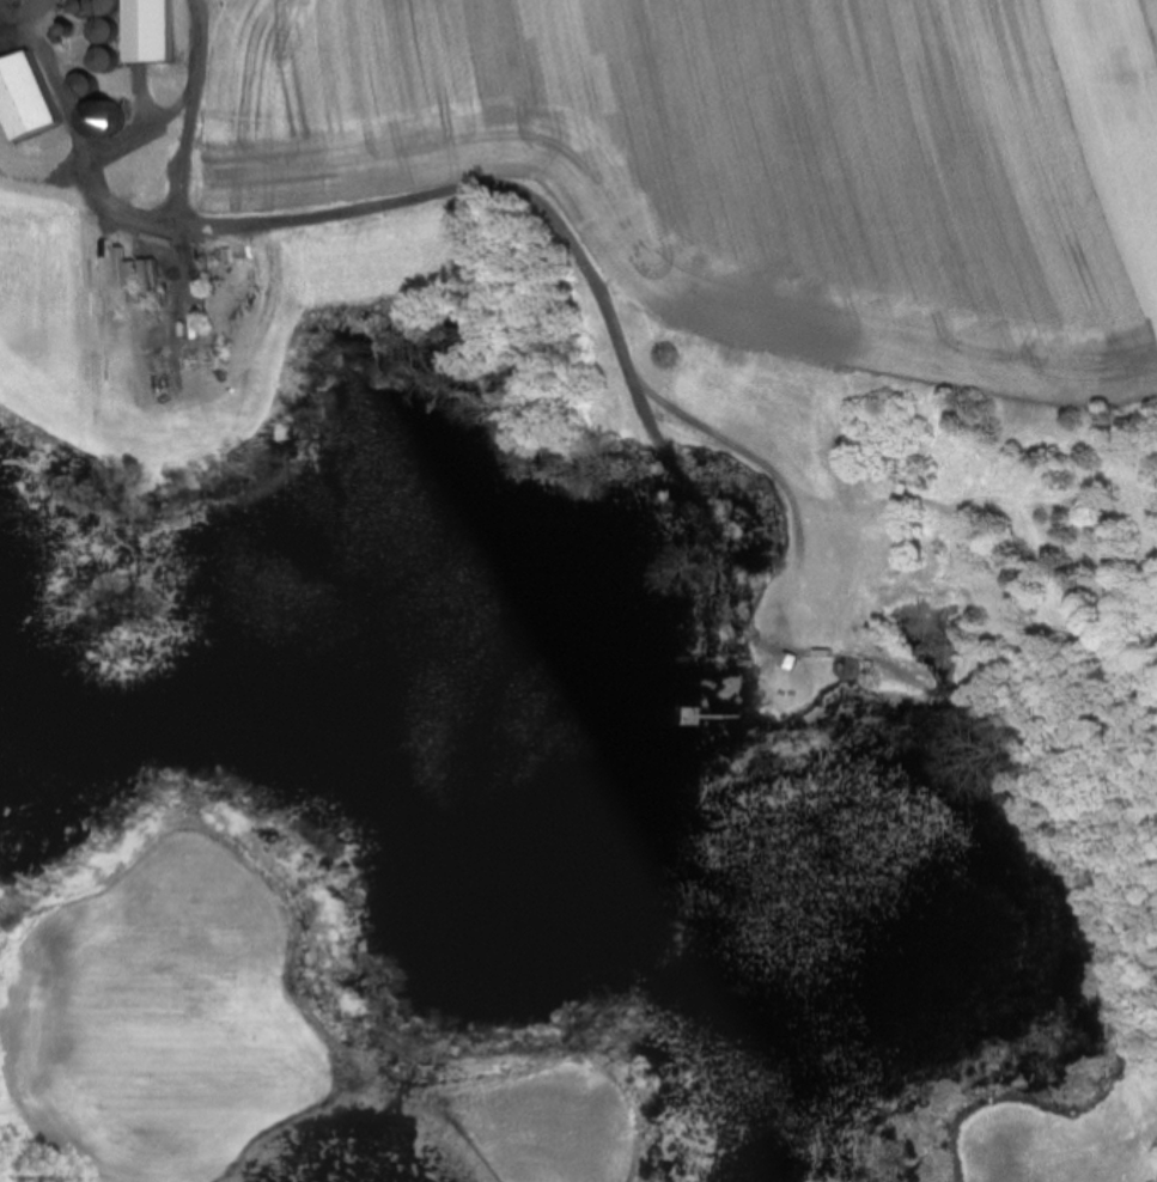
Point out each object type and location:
road: (22, 2)
building: (106, 7)
building: (150, 31)
building: (86, 86)
building: (26, 97)
road: (190, 114)
building: (108, 122)
road: (90, 167)

